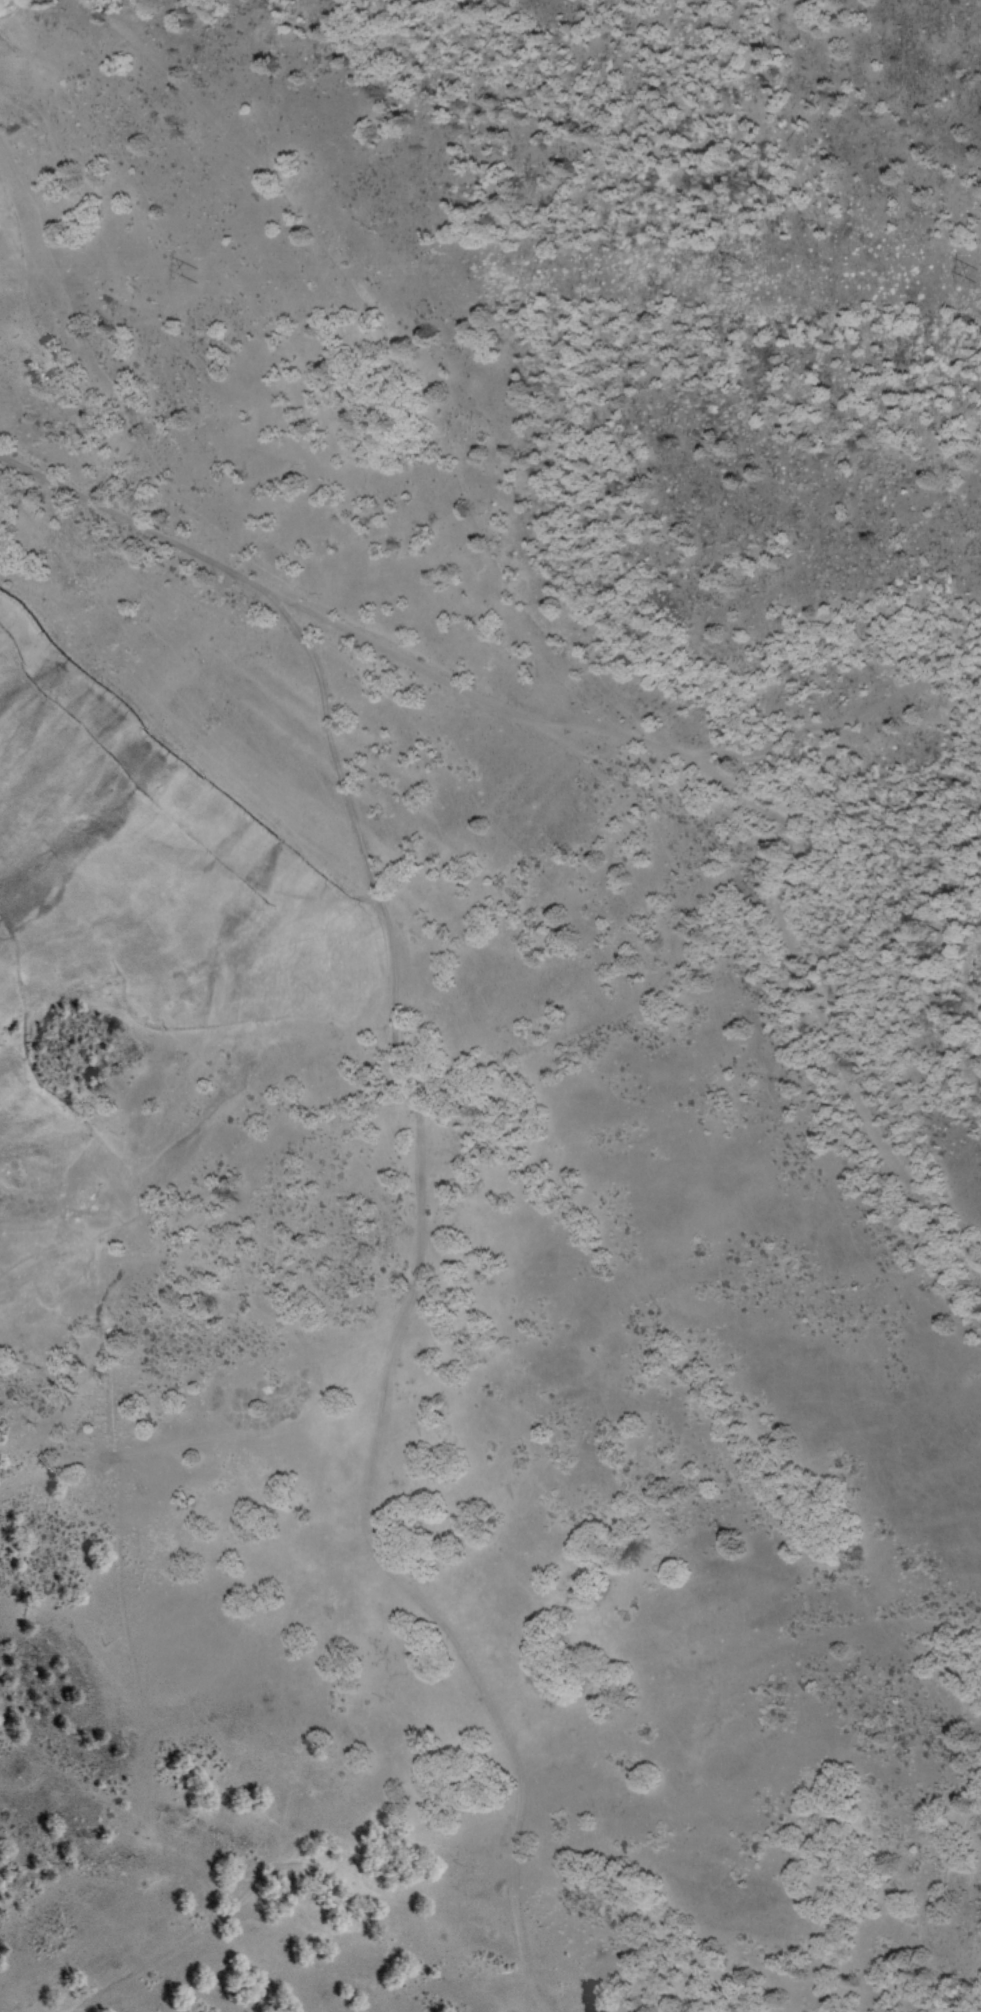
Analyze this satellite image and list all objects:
power tower: (199, 271)
power tower: (739, 272)
power tower: (975, 273)

